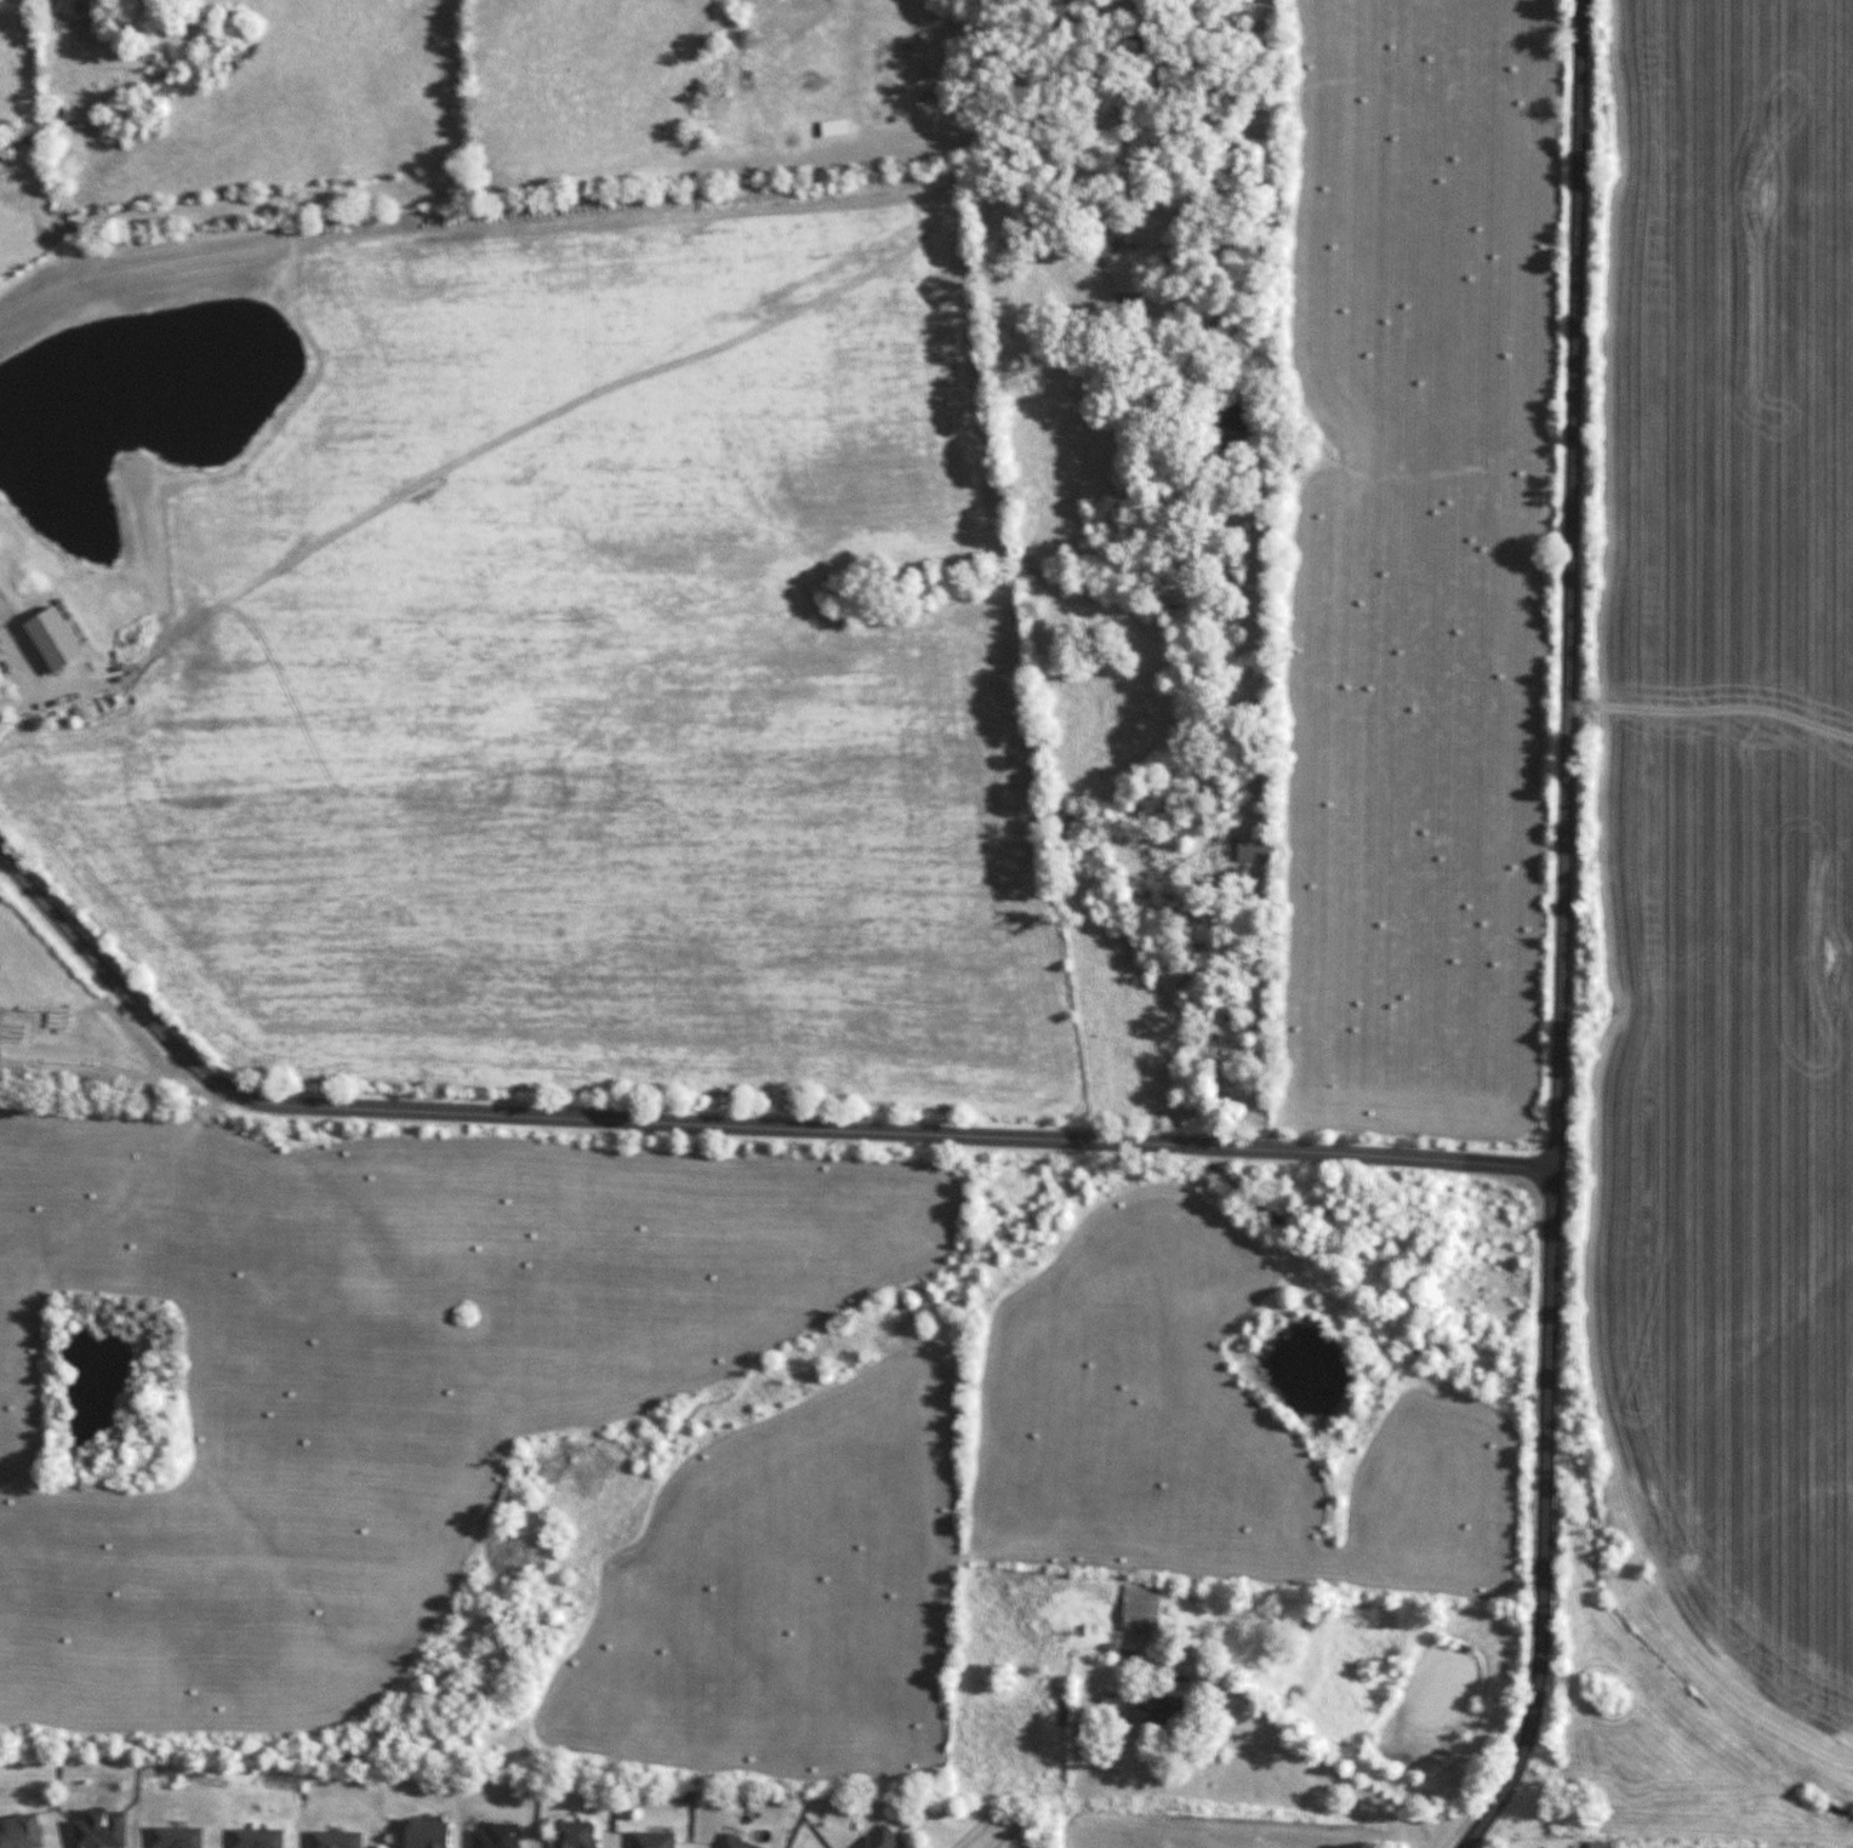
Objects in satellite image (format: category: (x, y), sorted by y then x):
road: (1561, 932)
road: (725, 1127)
building: (1139, 1608)
building: (1144, 1710)
road: (1294, 1739)
building: (93, 1829)
building: (17, 1831)
building: (418, 1833)
building: (570, 1835)
building: (492, 1836)
building: (171, 1837)
road: (988, 1837)
building: (252, 1838)
building: (330, 1840)
building: (648, 1840)
building: (877, 1840)
building: (731, 1843)
building: (1595, 1847)

